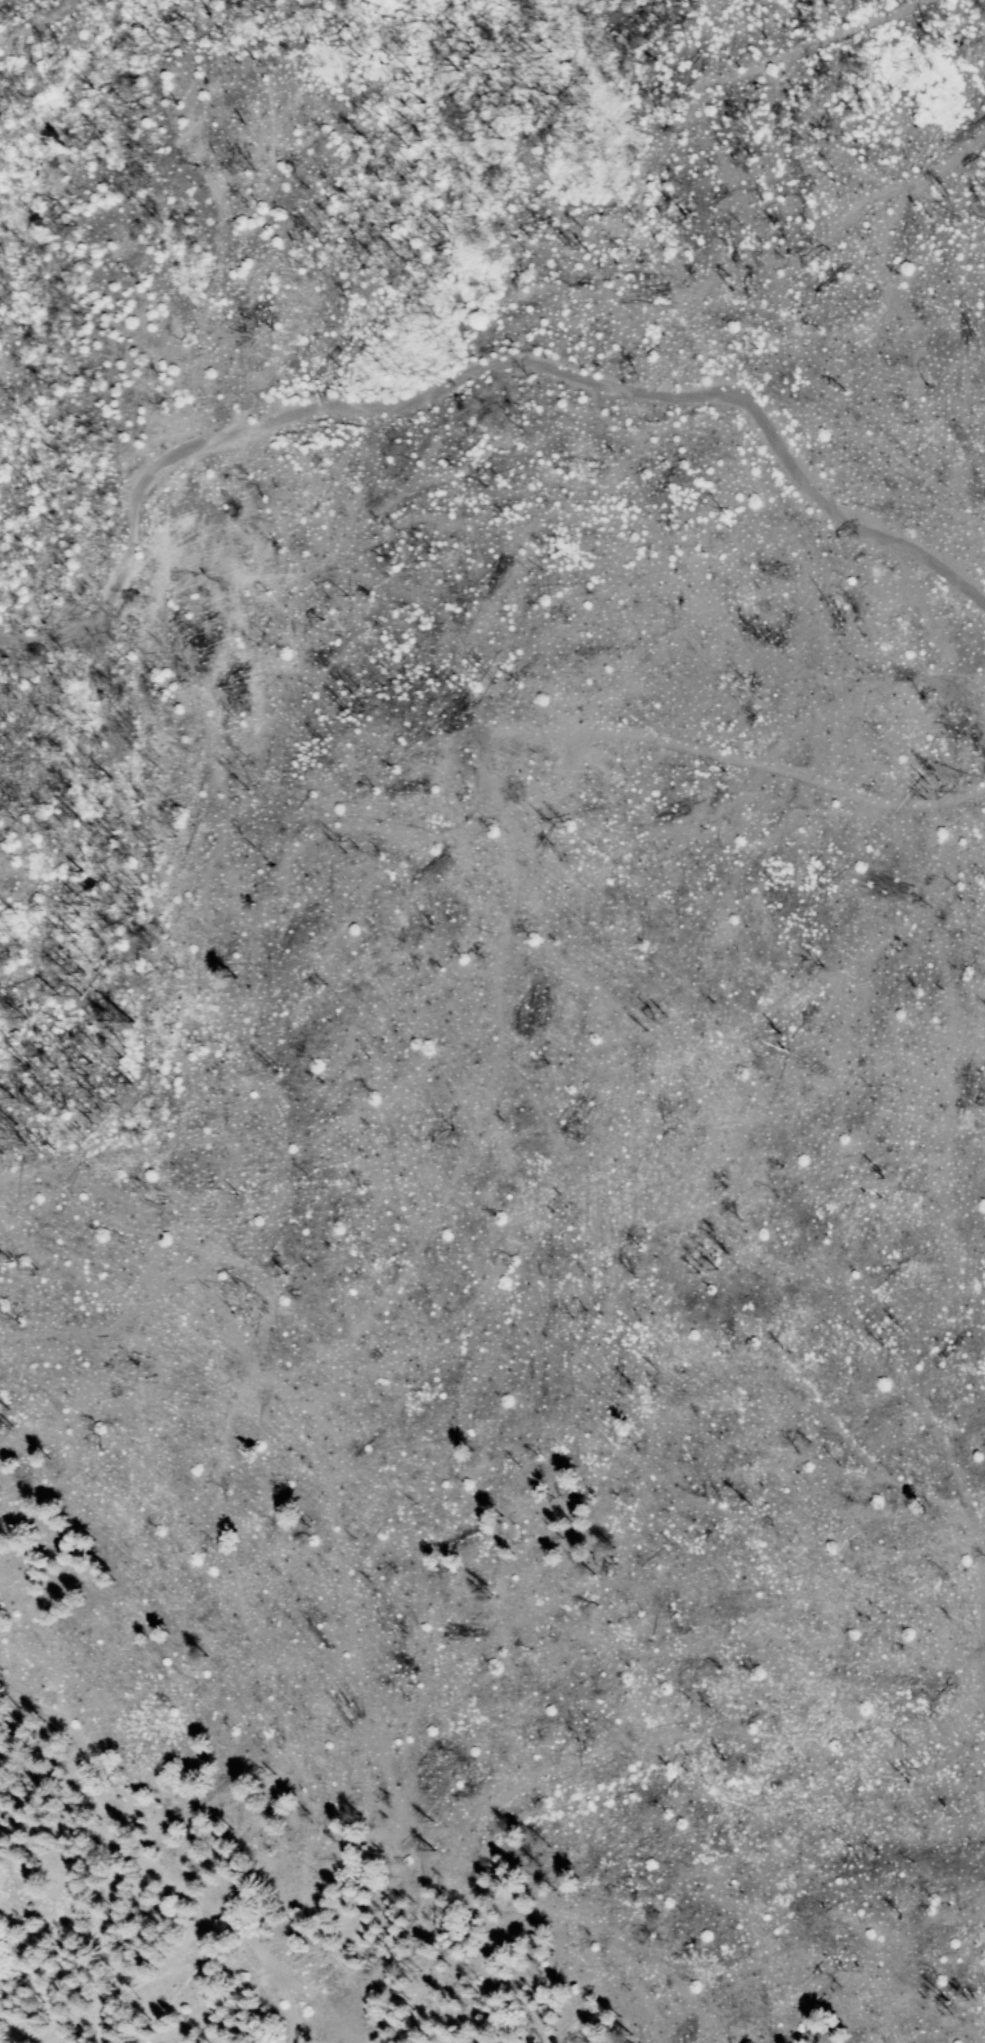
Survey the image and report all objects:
road: (476, 374)
road: (218, 1459)
road: (158, 1865)
road: (294, 1956)
road: (370, 1995)
road: (145, 2036)

